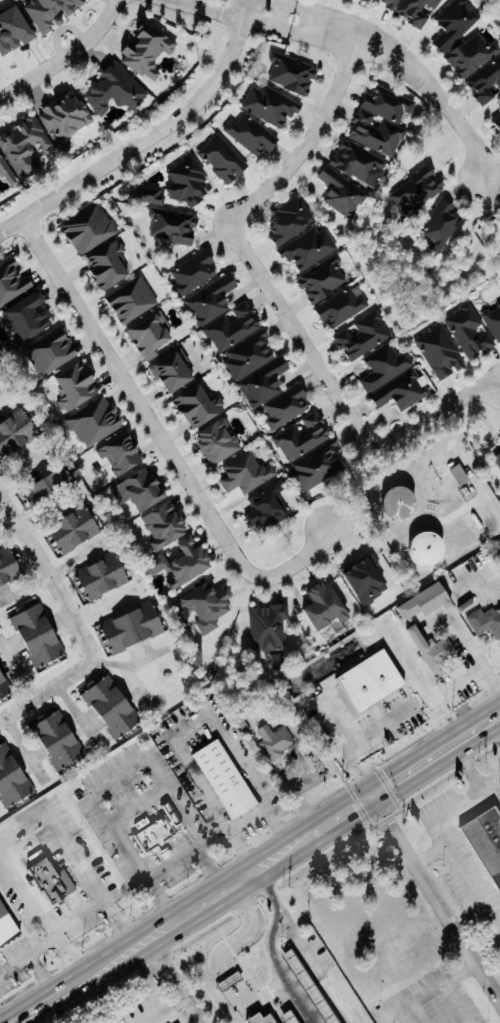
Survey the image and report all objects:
road: (181, 0)
road: (246, 3)
road: (303, 7)
building: (414, 9)
road: (280, 13)
road: (251, 18)
building: (456, 24)
building: (15, 31)
building: (149, 51)
building: (473, 55)
road: (65, 56)
building: (293, 74)
road: (424, 80)
building: (486, 82)
building: (116, 90)
building: (499, 99)
building: (272, 106)
building: (67, 116)
building: (383, 121)
building: (498, 121)
building: (253, 135)
road: (145, 138)
building: (26, 147)
building: (224, 160)
building: (361, 164)
building: (8, 172)
building: (189, 182)
building: (418, 190)
building: (344, 194)
building: (1, 195)
building: (168, 219)
building: (291, 222)
building: (442, 227)
building: (90, 229)
building: (311, 248)
building: (111, 265)
building: (195, 272)
building: (323, 279)
building: (13, 282)
road: (273, 296)
building: (134, 299)
building: (343, 307)
building: (224, 314)
building: (32, 316)
building: (494, 320)
building: (470, 331)
building: (364, 335)
building: (153, 336)
building: (52, 352)
building: (442, 352)
building: (250, 355)
building: (175, 372)
building: (394, 378)
building: (265, 383)
building: (76, 386)
building: (201, 406)
building: (288, 406)
building: (96, 421)
building: (17, 433)
road: (163, 438)
building: (219, 442)
building: (312, 452)
building: (123, 454)
building: (498, 459)
road: (24, 465)
building: (247, 473)
building: (461, 475)
road: (477, 479)
road: (8, 481)
building: (51, 486)
building: (142, 490)
building: (269, 507)
road: (45, 510)
road: (7, 524)
building: (167, 525)
building: (77, 530)
building: (185, 564)
building: (11, 567)
road: (55, 573)
road: (51, 576)
building: (105, 576)
building: (369, 581)
building: (427, 602)
building: (209, 605)
building: (328, 605)
road: (105, 606)
building: (486, 622)
building: (269, 627)
building: (40, 634)
road: (468, 639)
building: (433, 648)
road: (129, 663)
road: (17, 668)
building: (374, 681)
road: (136, 684)
building: (4, 686)
road: (458, 687)
road: (45, 690)
building: (114, 706)
road: (77, 713)
road: (184, 715)
road: (469, 720)
road: (490, 722)
road: (378, 727)
road: (498, 731)
road: (498, 734)
building: (61, 740)
building: (276, 741)
road: (343, 743)
road: (25, 748)
road: (401, 763)
road: (438, 769)
road: (475, 769)
building: (13, 777)
building: (227, 779)
traffic signals: (364, 786)
traffic signals: (379, 806)
road: (183, 817)
road: (249, 822)
road: (346, 825)
building: (158, 829)
road: (446, 835)
building: (489, 836)
road: (123, 840)
road: (434, 855)
road: (209, 862)
road: (174, 863)
road: (13, 864)
road: (85, 876)
building: (55, 881)
road: (211, 882)
road: (433, 888)
road: (77, 918)
building: (7, 925)
road: (173, 933)
road: (242, 936)
road: (488, 947)
road: (64, 952)
road: (271, 952)
road: (27, 954)
road: (37, 971)
building: (231, 979)
road: (227, 980)
road: (51, 985)
road: (445, 986)
road: (180, 992)
road: (265, 995)
road: (239, 999)
road: (21, 1005)
road: (192, 1011)
building: (294, 1017)
road: (251, 1018)
building: (266, 1019)

